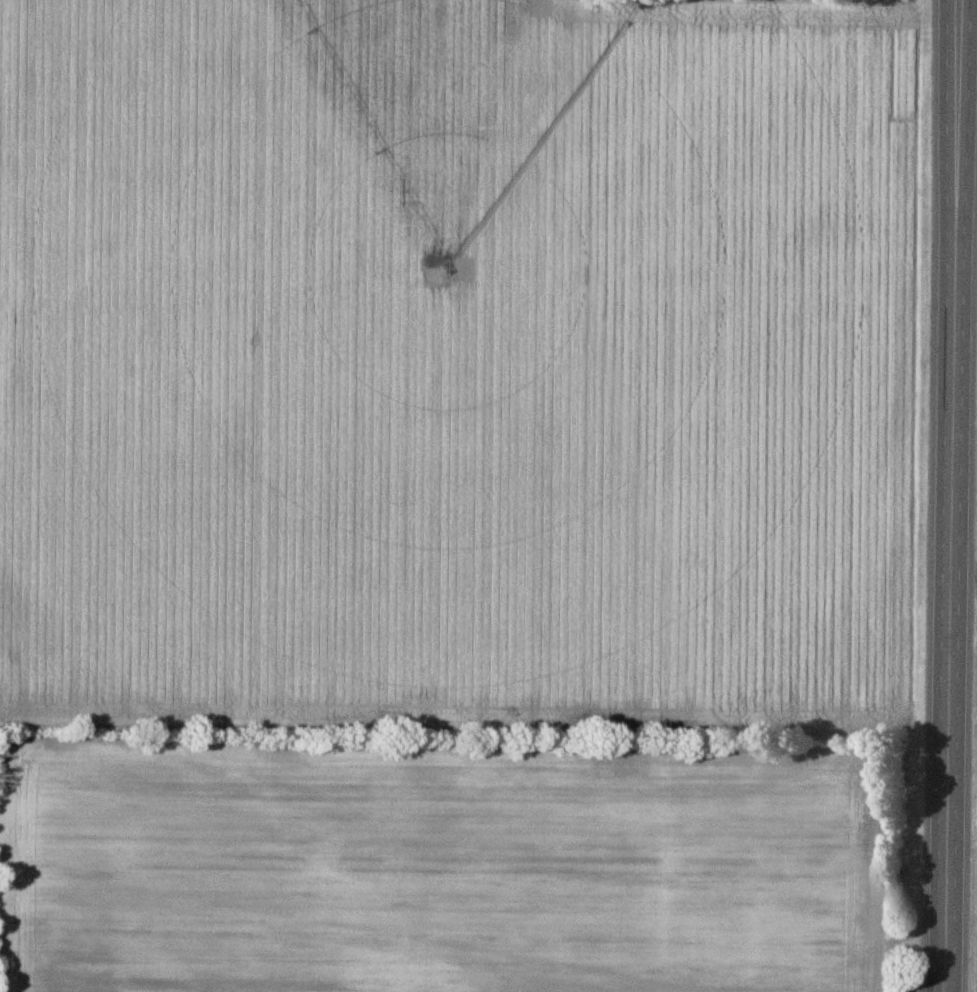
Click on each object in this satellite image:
road: (950, 496)

